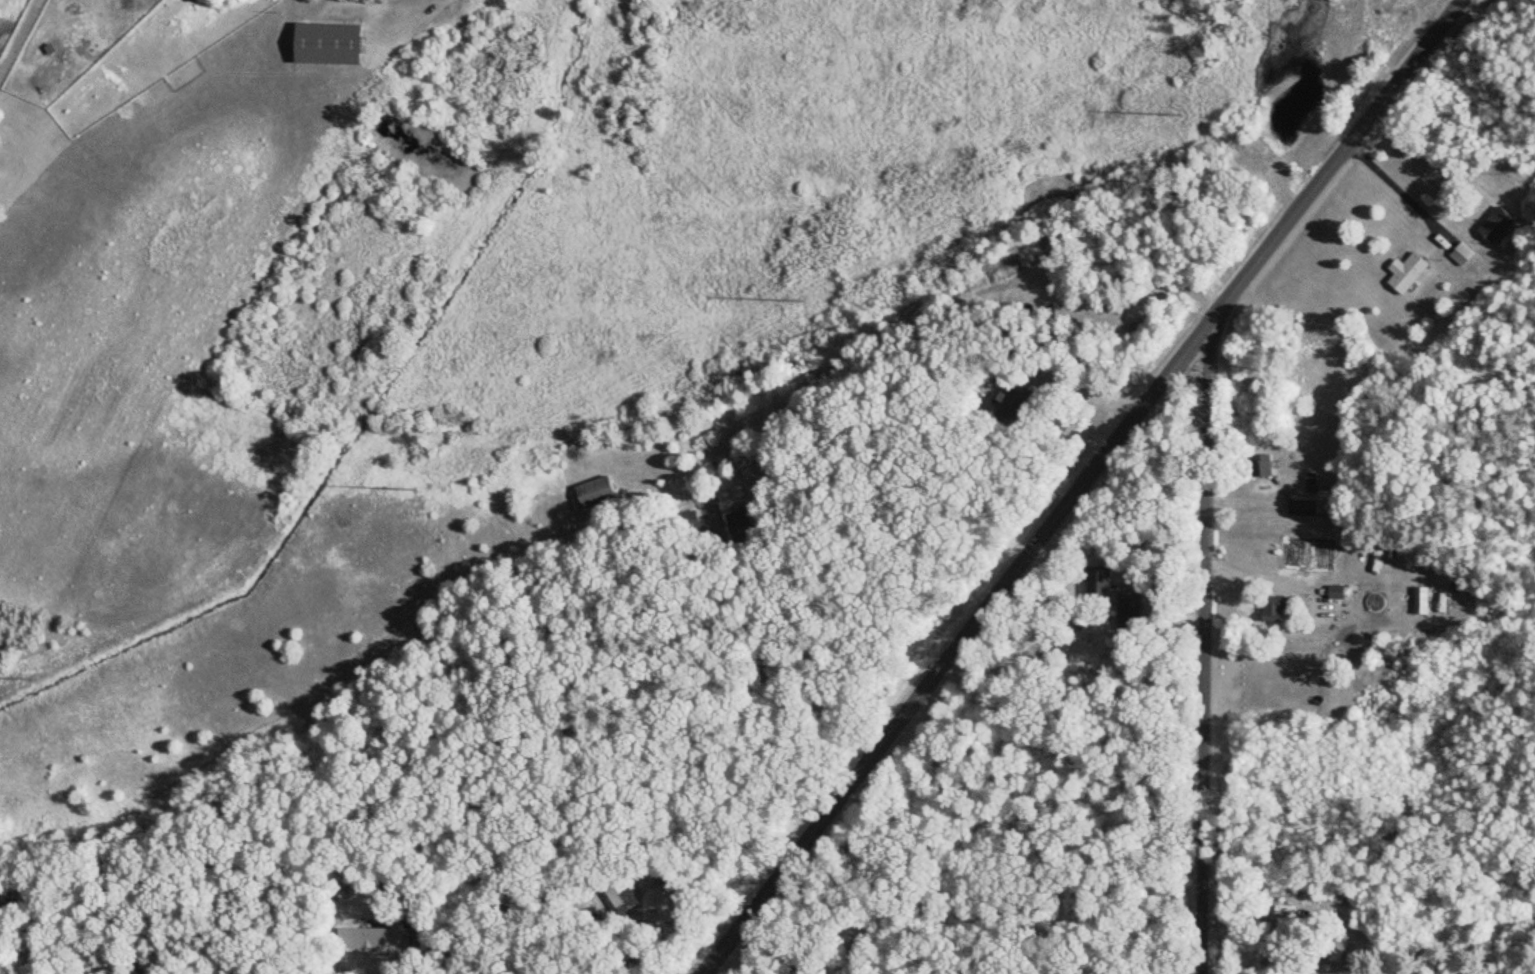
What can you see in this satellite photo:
road: (18, 37)
building: (323, 44)
power tower: (1177, 112)
road: (1398, 185)
building: (1492, 225)
building: (1459, 255)
building: (1404, 273)
power tower: (801, 298)
road: (1082, 385)
road: (1075, 484)
building: (1309, 484)
power tower: (416, 489)
building: (592, 493)
building: (1294, 508)
building: (738, 520)
building: (1333, 593)
building: (1418, 601)
building: (1271, 609)
road: (1207, 641)
power tower: (31, 680)
building: (624, 898)
building: (665, 901)
building: (409, 921)
road: (396, 961)
road: (1217, 969)

